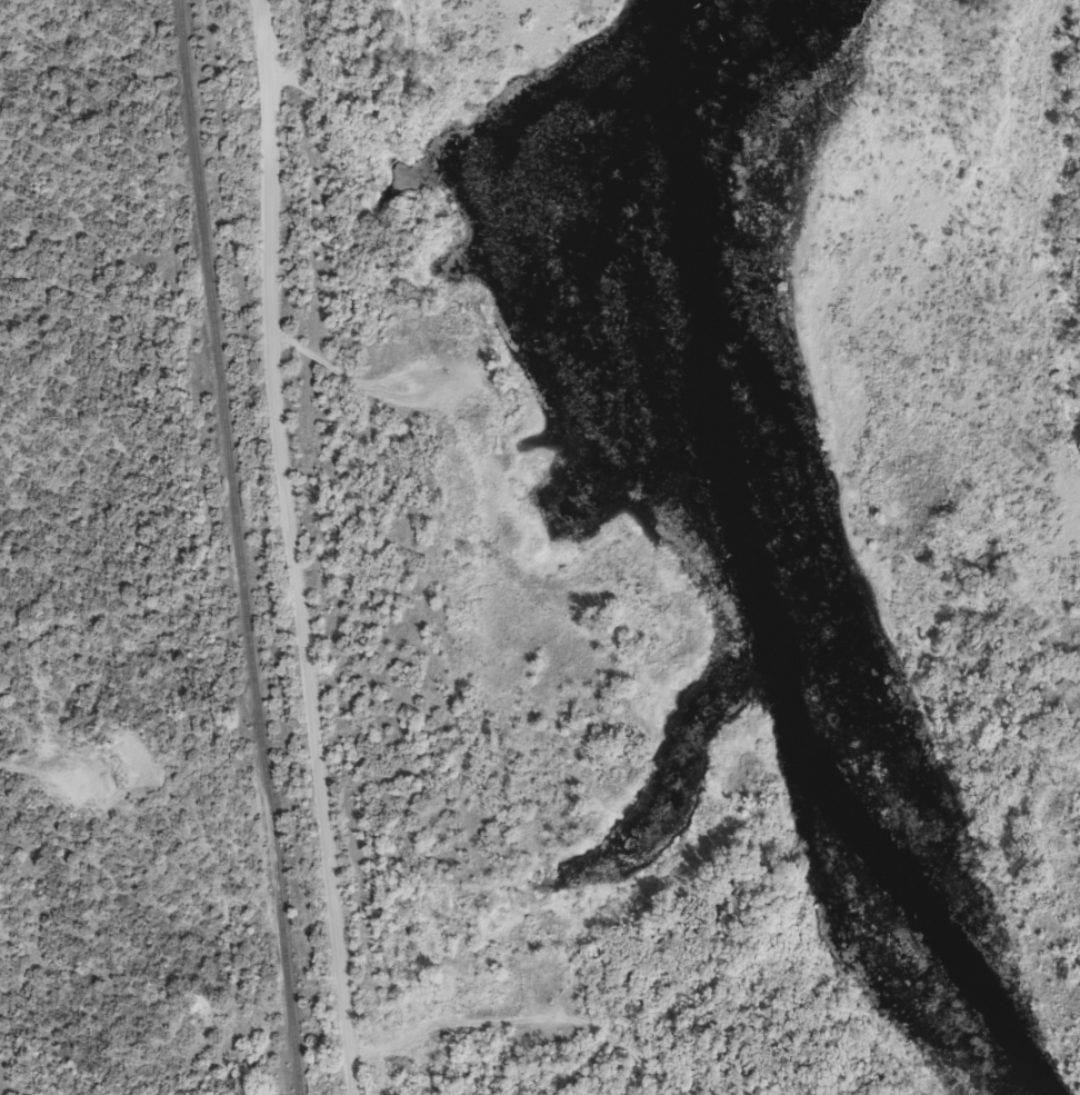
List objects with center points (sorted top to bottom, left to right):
road: (387, 128)
railway: (236, 547)
road: (281, 548)
road: (492, 1066)

